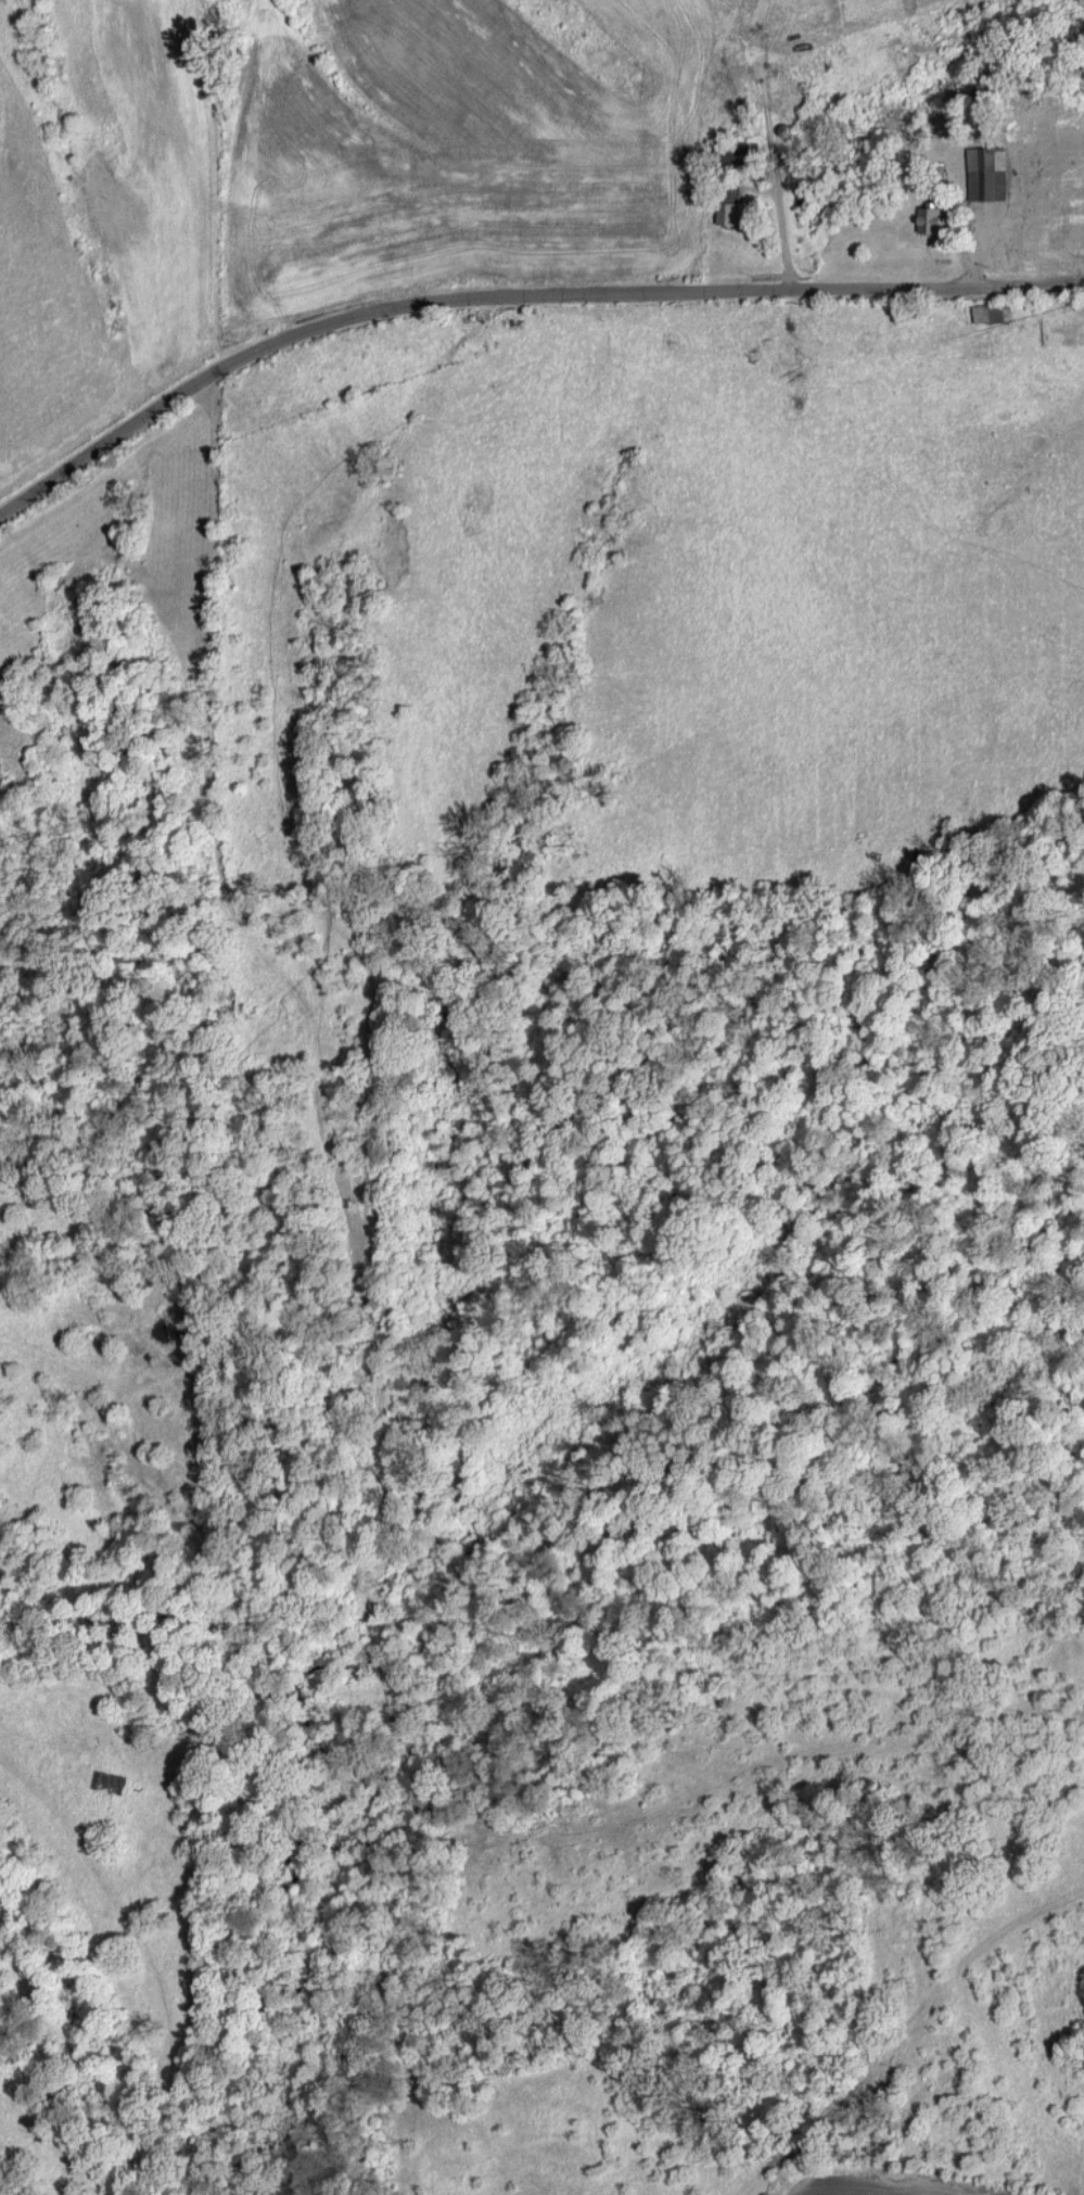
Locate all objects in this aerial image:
building: (984, 175)
building: (728, 212)
building: (930, 218)
road: (514, 292)

